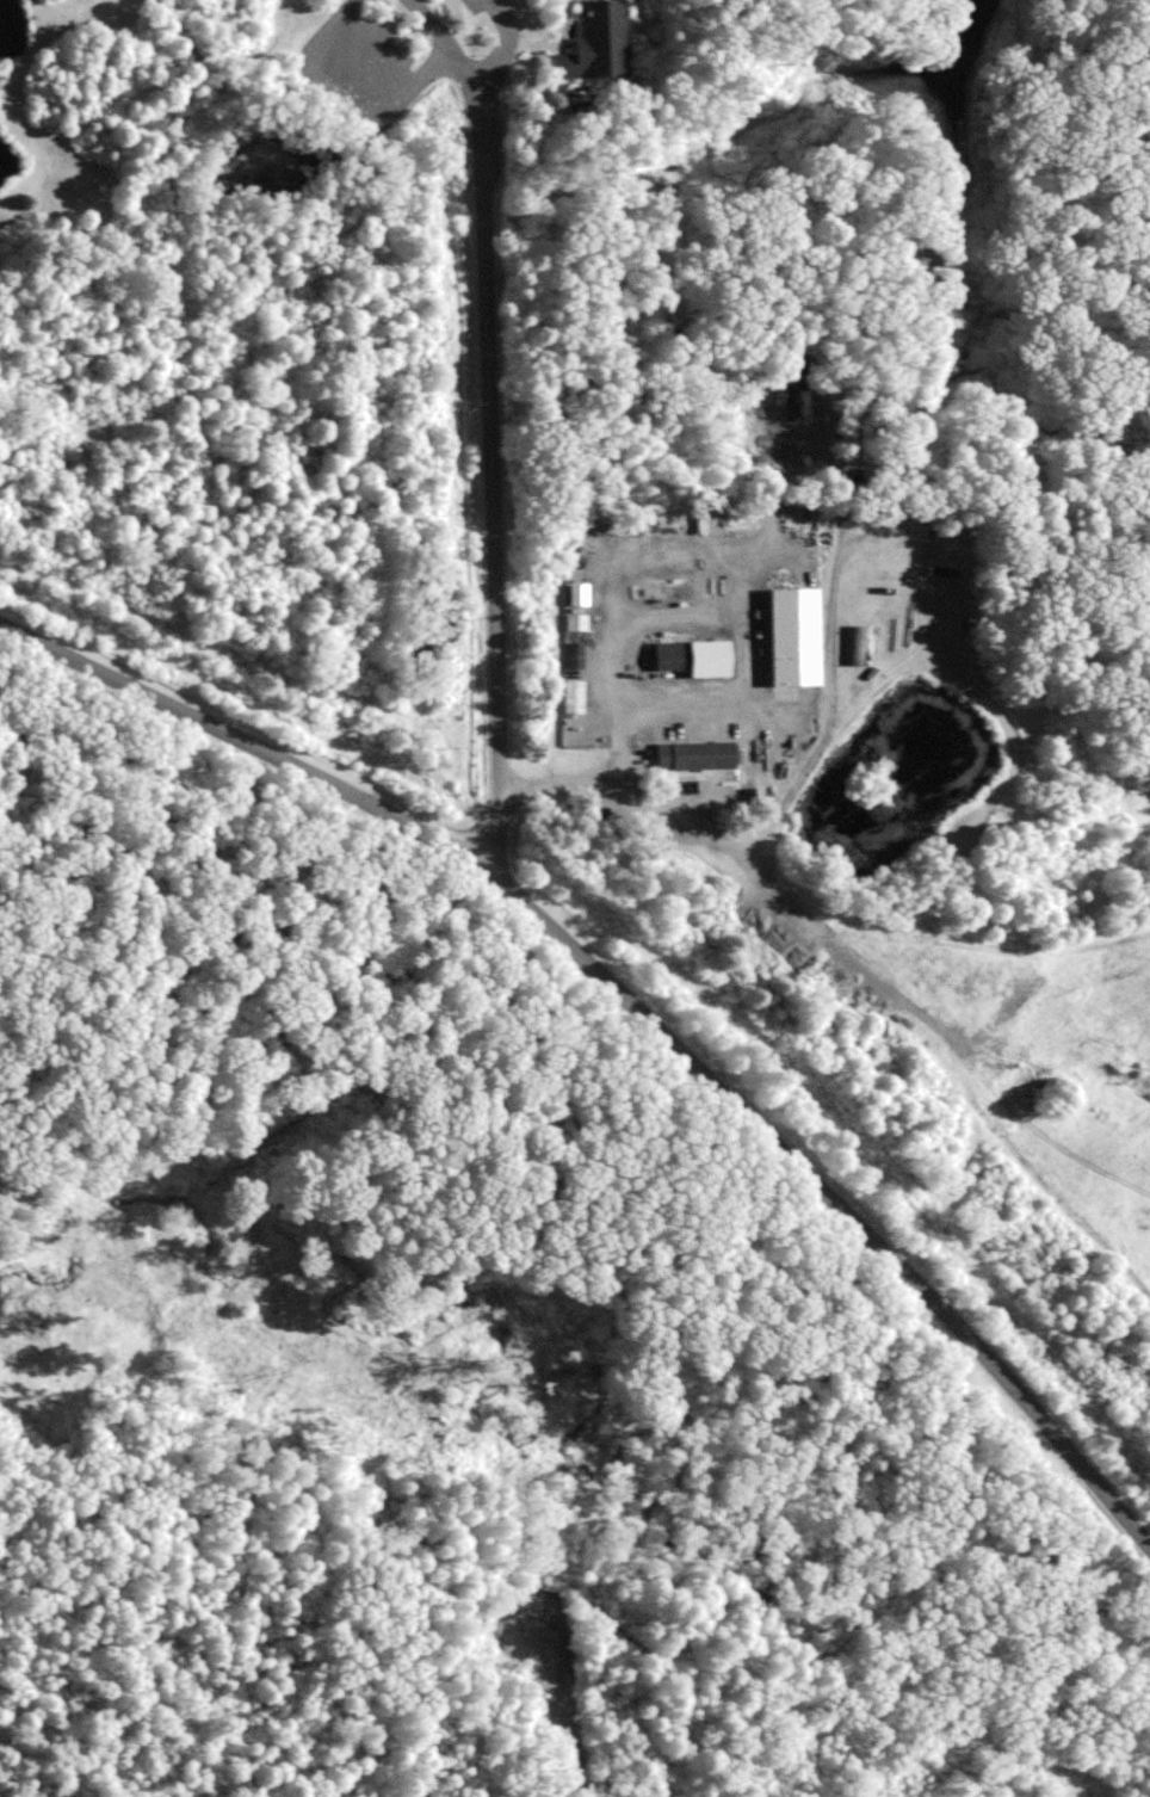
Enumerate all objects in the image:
parking lot: (481, 6)
building: (598, 42)
road: (503, 45)
road: (379, 50)
parking lot: (363, 67)
road: (352, 99)
road: (175, 233)
road: (489, 426)
road: (655, 557)
building: (574, 622)
building: (791, 635)
building: (686, 654)
building: (570, 655)
building: (570, 697)
building: (693, 754)
road: (791, 795)
road: (523, 847)
road: (635, 1007)
road: (731, 1375)
road: (94, 1741)

